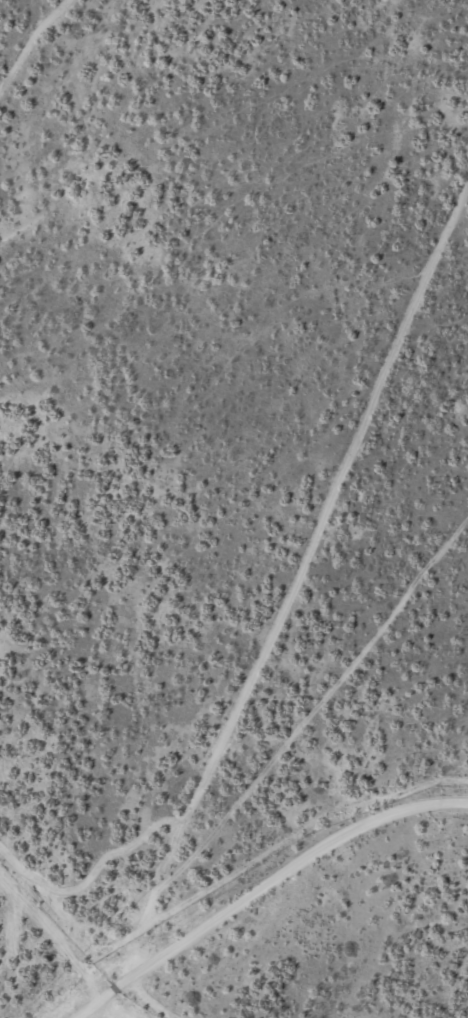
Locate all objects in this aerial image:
road: (263, 887)

